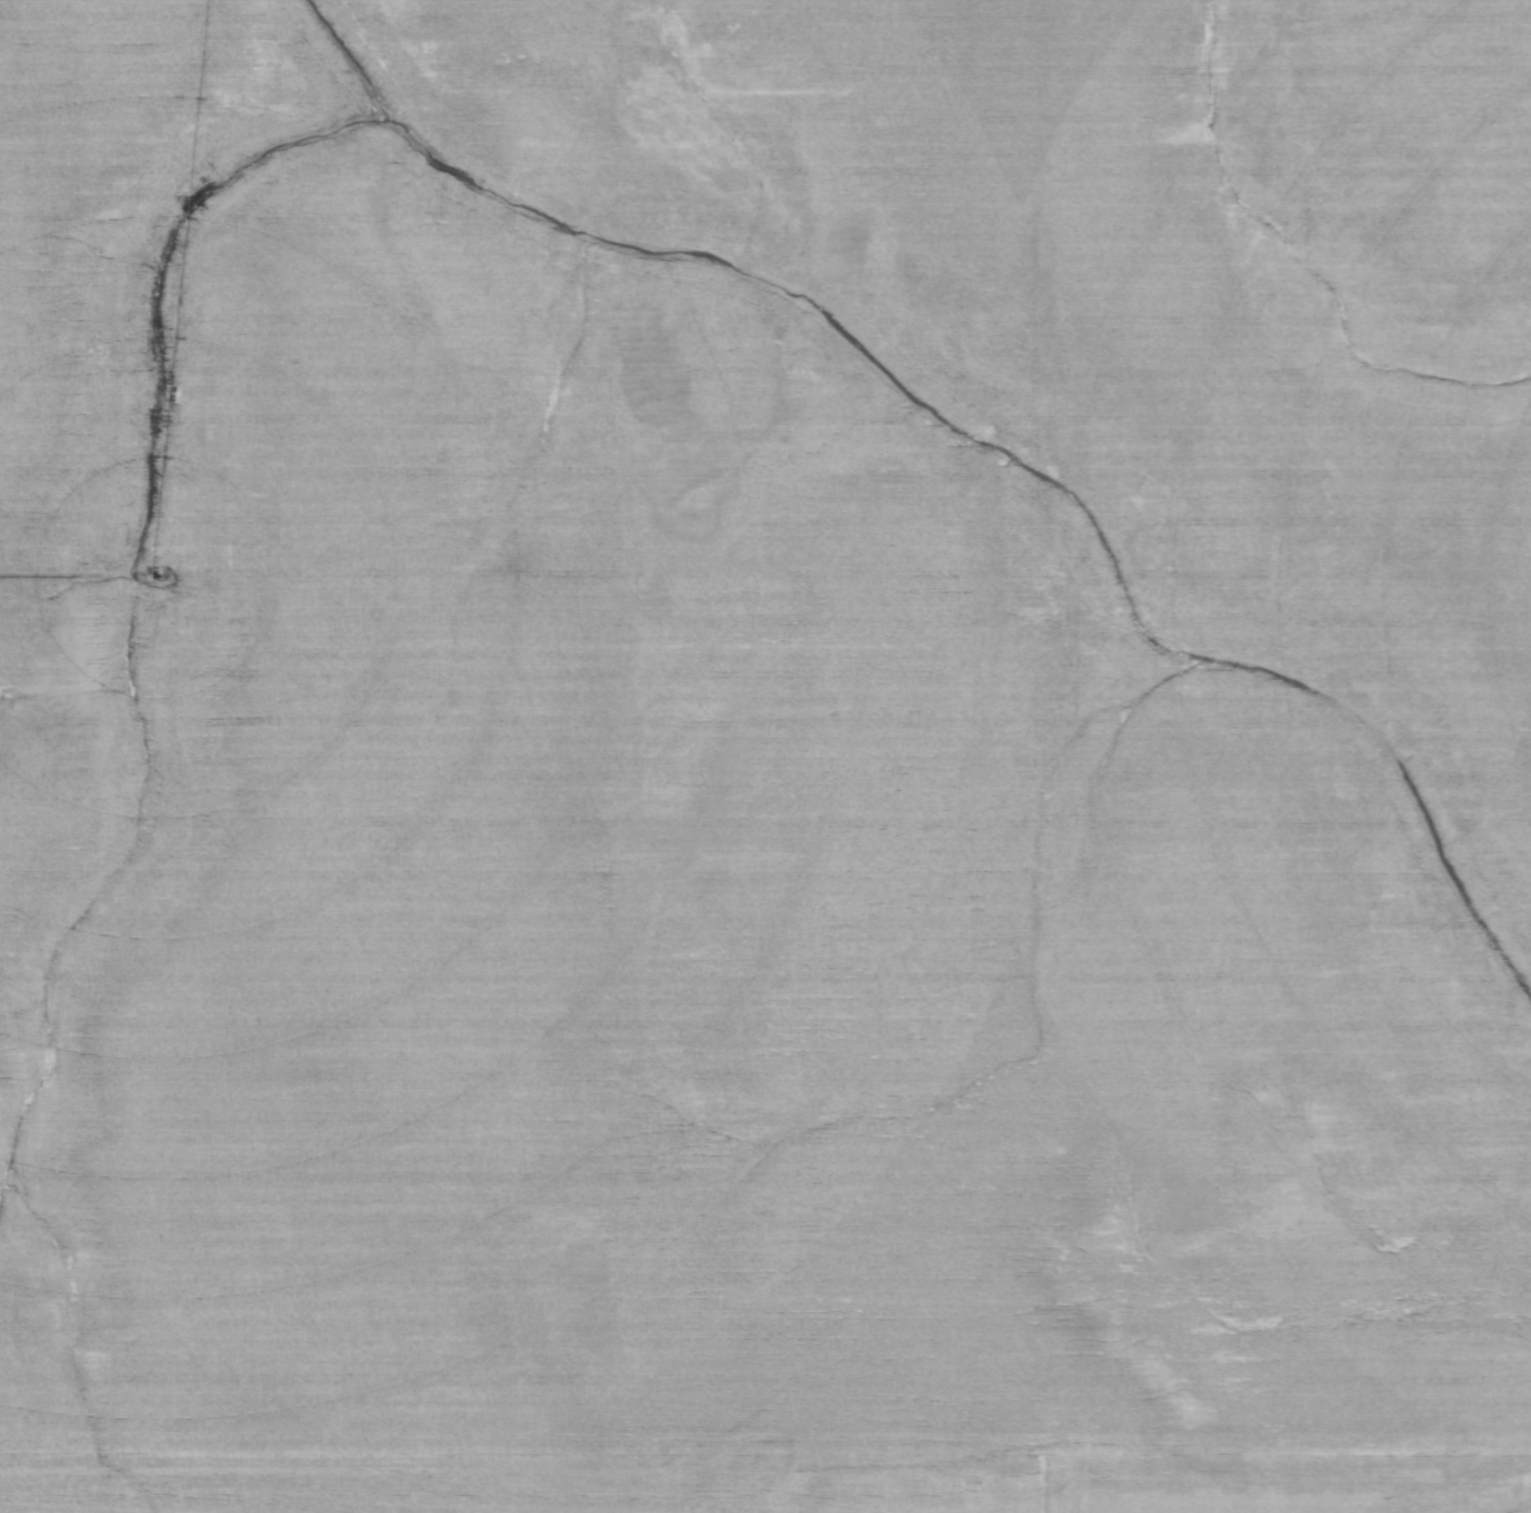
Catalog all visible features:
building: (1193, 484)
building: (1034, 560)
building: (683, 631)
building: (780, 700)

